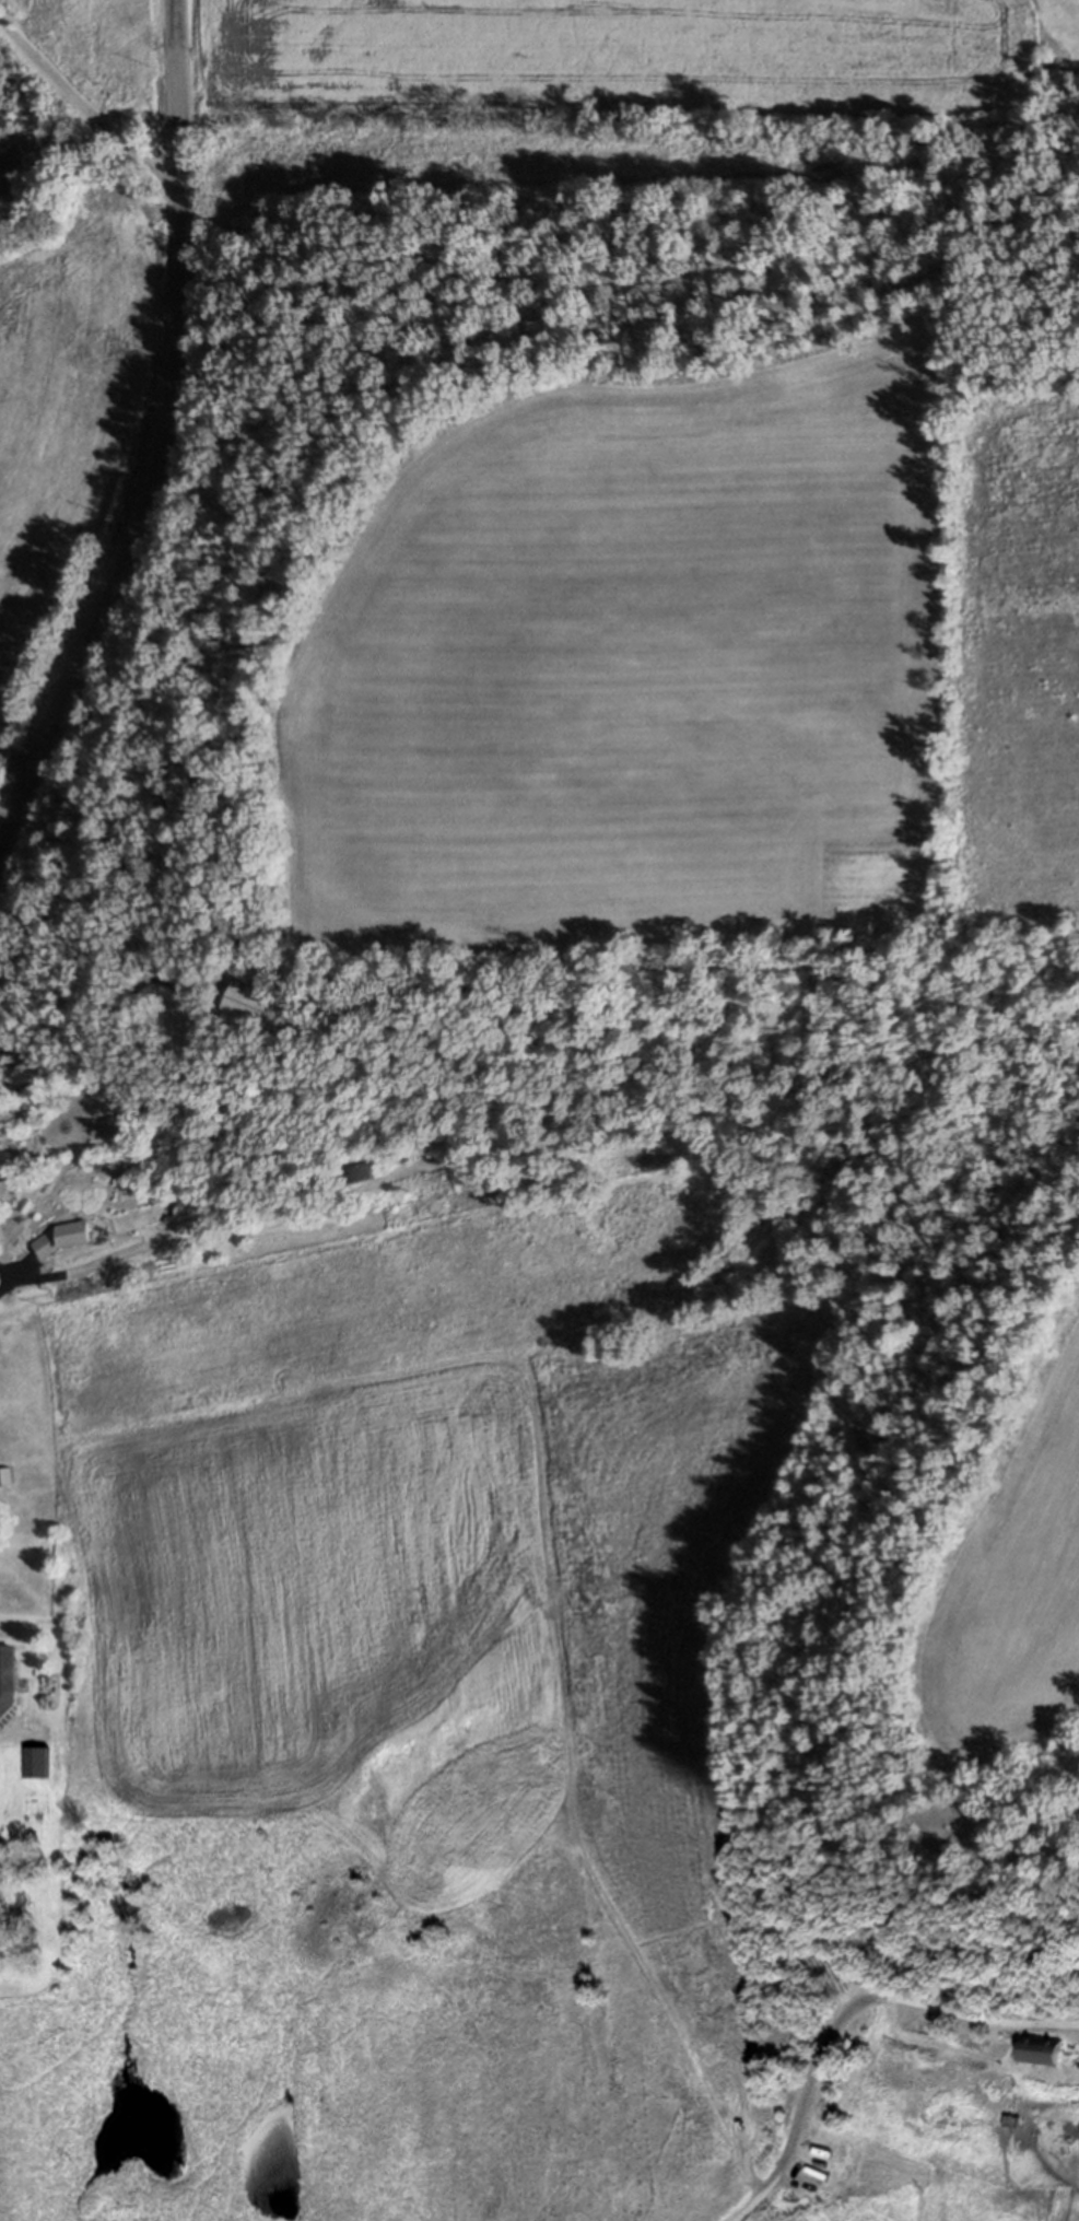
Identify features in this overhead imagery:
road: (175, 26)
road: (89, 102)
road: (161, 461)
building: (245, 1003)
road: (98, 1028)
building: (356, 1172)
building: (367, 1172)
building: (57, 1239)
road: (134, 1254)
road: (4, 1278)
building: (4, 1476)
building: (5, 1678)
road: (20, 1734)
building: (34, 1766)
road: (852, 2017)
building: (1045, 2056)
building: (1009, 2121)

